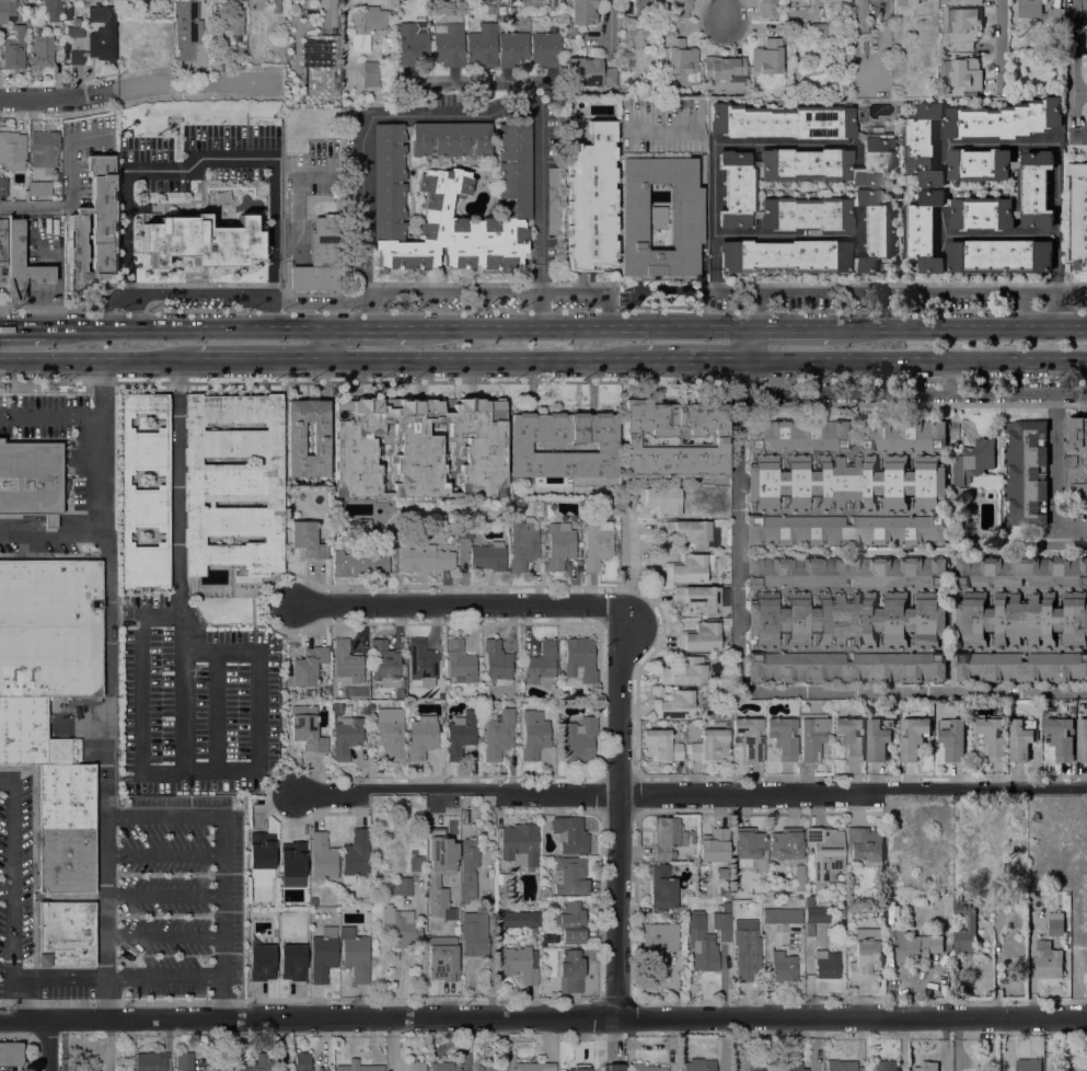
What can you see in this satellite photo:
building: (234, 1)
building: (649, 2)
building: (971, 2)
building: (901, 3)
road: (343, 4)
building: (1085, 4)
building: (276, 7)
building: (7, 9)
building: (492, 9)
building: (681, 9)
building: (767, 9)
building: (55, 10)
road: (724, 10)
building: (510, 11)
building: (583, 12)
building: (860, 12)
building: (1040, 12)
building: (228, 21)
building: (963, 23)
building: (367, 24)
road: (608, 26)
building: (819, 31)
building: (189, 32)
building: (1083, 34)
building: (99, 36)
building: (389, 42)
building: (65, 46)
building: (476, 46)
road: (999, 48)
building: (14, 50)
building: (41, 50)
building: (623, 54)
road: (1071, 55)
building: (681, 57)
building: (767, 57)
building: (725, 68)
building: (588, 72)
building: (370, 73)
building: (964, 74)
building: (1086, 77)
road: (141, 88)
building: (941, 94)
road: (455, 114)
building: (783, 122)
building: (973, 128)
building: (407, 129)
building: (859, 135)
building: (1078, 135)
building: (451, 139)
road: (713, 146)
road: (1057, 147)
building: (44, 149)
building: (12, 150)
building: (831, 162)
building: (754, 164)
building: (979, 164)
building: (1014, 164)
road: (137, 170)
building: (947, 175)
building: (3, 186)
building: (45, 188)
building: (1034, 188)
building: (349, 189)
building: (335, 194)
road: (704, 196)
building: (513, 197)
building: (591, 200)
building: (554, 201)
building: (949, 201)
road: (27, 207)
building: (803, 211)
building: (983, 212)
building: (1018, 214)
building: (659, 215)
building: (686, 215)
building: (1078, 217)
building: (93, 227)
road: (785, 234)
road: (999, 234)
building: (201, 241)
building: (2, 242)
building: (969, 245)
building: (785, 256)
building: (320, 257)
building: (21, 263)
road: (1056, 281)
road: (844, 289)
road: (365, 300)
road: (45, 304)
road: (1065, 307)
road: (1043, 309)
road: (268, 314)
road: (186, 325)
road: (23, 327)
road: (368, 327)
road: (575, 329)
road: (787, 329)
road: (961, 329)
road: (326, 343)
road: (739, 344)
road: (261, 358)
road: (484, 358)
road: (690, 358)
road: (912, 358)
road: (97, 359)
road: (950, 375)
road: (1068, 390)
road: (894, 391)
road: (50, 416)
building: (796, 435)
building: (904, 435)
building: (294, 438)
building: (631, 438)
building: (418, 446)
building: (520, 447)
building: (1076, 454)
road: (1054, 459)
building: (974, 461)
building: (1026, 473)
building: (31, 480)
building: (846, 482)
building: (233, 483)
building: (144, 493)
building: (660, 500)
building: (510, 515)
road: (738, 523)
building: (362, 525)
road: (1072, 527)
building: (466, 530)
building: (848, 530)
building: (693, 533)
road: (54, 534)
building: (968, 534)
building: (384, 535)
building: (308, 540)
building: (523, 543)
building: (598, 543)
building: (560, 544)
building: (488, 556)
building: (424, 558)
building: (722, 561)
road: (181, 563)
building: (358, 563)
road: (107, 565)
building: (690, 568)
building: (846, 571)
building: (1021, 571)
building: (698, 599)
road: (458, 604)
building: (846, 619)
building: (1022, 619)
building: (725, 622)
building: (49, 627)
building: (699, 637)
building: (580, 659)
building: (460, 661)
building: (347, 663)
building: (384, 663)
building: (421, 663)
building: (497, 663)
building: (543, 664)
building: (308, 667)
building: (846, 667)
building: (1021, 667)
building: (684, 671)
road: (912, 688)
building: (325, 690)
road: (139, 692)
building: (365, 695)
building: (85, 700)
building: (828, 703)
building: (674, 705)
road: (261, 706)
building: (365, 706)
building: (371, 706)
building: (1049, 707)
building: (336, 709)
building: (705, 712)
building: (714, 716)
building: (308, 733)
building: (28, 734)
building: (391, 734)
building: (461, 734)
building: (534, 734)
building: (499, 735)
building: (811, 735)
building: (913, 736)
building: (347, 737)
building: (423, 737)
building: (750, 737)
building: (784, 737)
building: (851, 737)
building: (993, 737)
building: (1061, 737)
building: (580, 739)
building: (878, 740)
building: (953, 740)
building: (1020, 740)
building: (1083, 740)
building: (660, 746)
building: (709, 746)
building: (73, 750)
road: (690, 793)
building: (65, 795)
road: (616, 810)
road: (12, 829)
building: (570, 834)
building: (667, 837)
building: (787, 843)
building: (520, 844)
building: (714, 844)
building: (748, 845)
building: (866, 845)
road: (165, 848)
building: (824, 852)
building: (261, 854)
building: (322, 856)
building: (356, 856)
building: (65, 860)
road: (222, 861)
building: (291, 864)
building: (417, 864)
building: (469, 870)
building: (440, 873)
building: (570, 876)
building: (401, 887)
building: (662, 887)
road: (5, 888)
building: (773, 888)
building: (801, 888)
building: (543, 890)
road: (106, 895)
road: (164, 895)
building: (800, 896)
building: (47, 897)
building: (313, 900)
building: (726, 907)
building: (841, 912)
building: (672, 915)
building: (782, 915)
building: (518, 919)
building: (814, 919)
building: (570, 921)
building: (1055, 923)
building: (745, 924)
building: (400, 925)
building: (721, 925)
building: (971, 925)
building: (534, 930)
building: (65, 933)
building: (475, 933)
road: (164, 935)
road: (12, 936)
building: (659, 940)
building: (702, 944)
building: (904, 945)
building: (929, 945)
building: (323, 954)
building: (355, 954)
building: (747, 954)
building: (865, 955)
building: (442, 958)
building: (1048, 960)
building: (261, 963)
building: (291, 963)
building: (519, 964)
building: (826, 965)
building: (783, 967)
building: (571, 971)
road: (116, 978)
road: (5, 986)
road: (12, 1003)
road: (543, 1018)
road: (48, 1045)
building: (11, 1053)
building: (184, 1061)
building: (302, 1061)
building: (150, 1062)
building: (261, 1062)
building: (699, 1064)
building: (1028, 1064)
building: (416, 1066)
building: (488, 1066)
building: (789, 1066)
building: (841, 1066)
building: (883, 1066)
building: (358, 1067)
building: (442, 1067)
building: (534, 1067)
building: (613, 1068)
building: (646, 1068)
building: (581, 1069)
building: (917, 1069)
building: (574, 1070)

